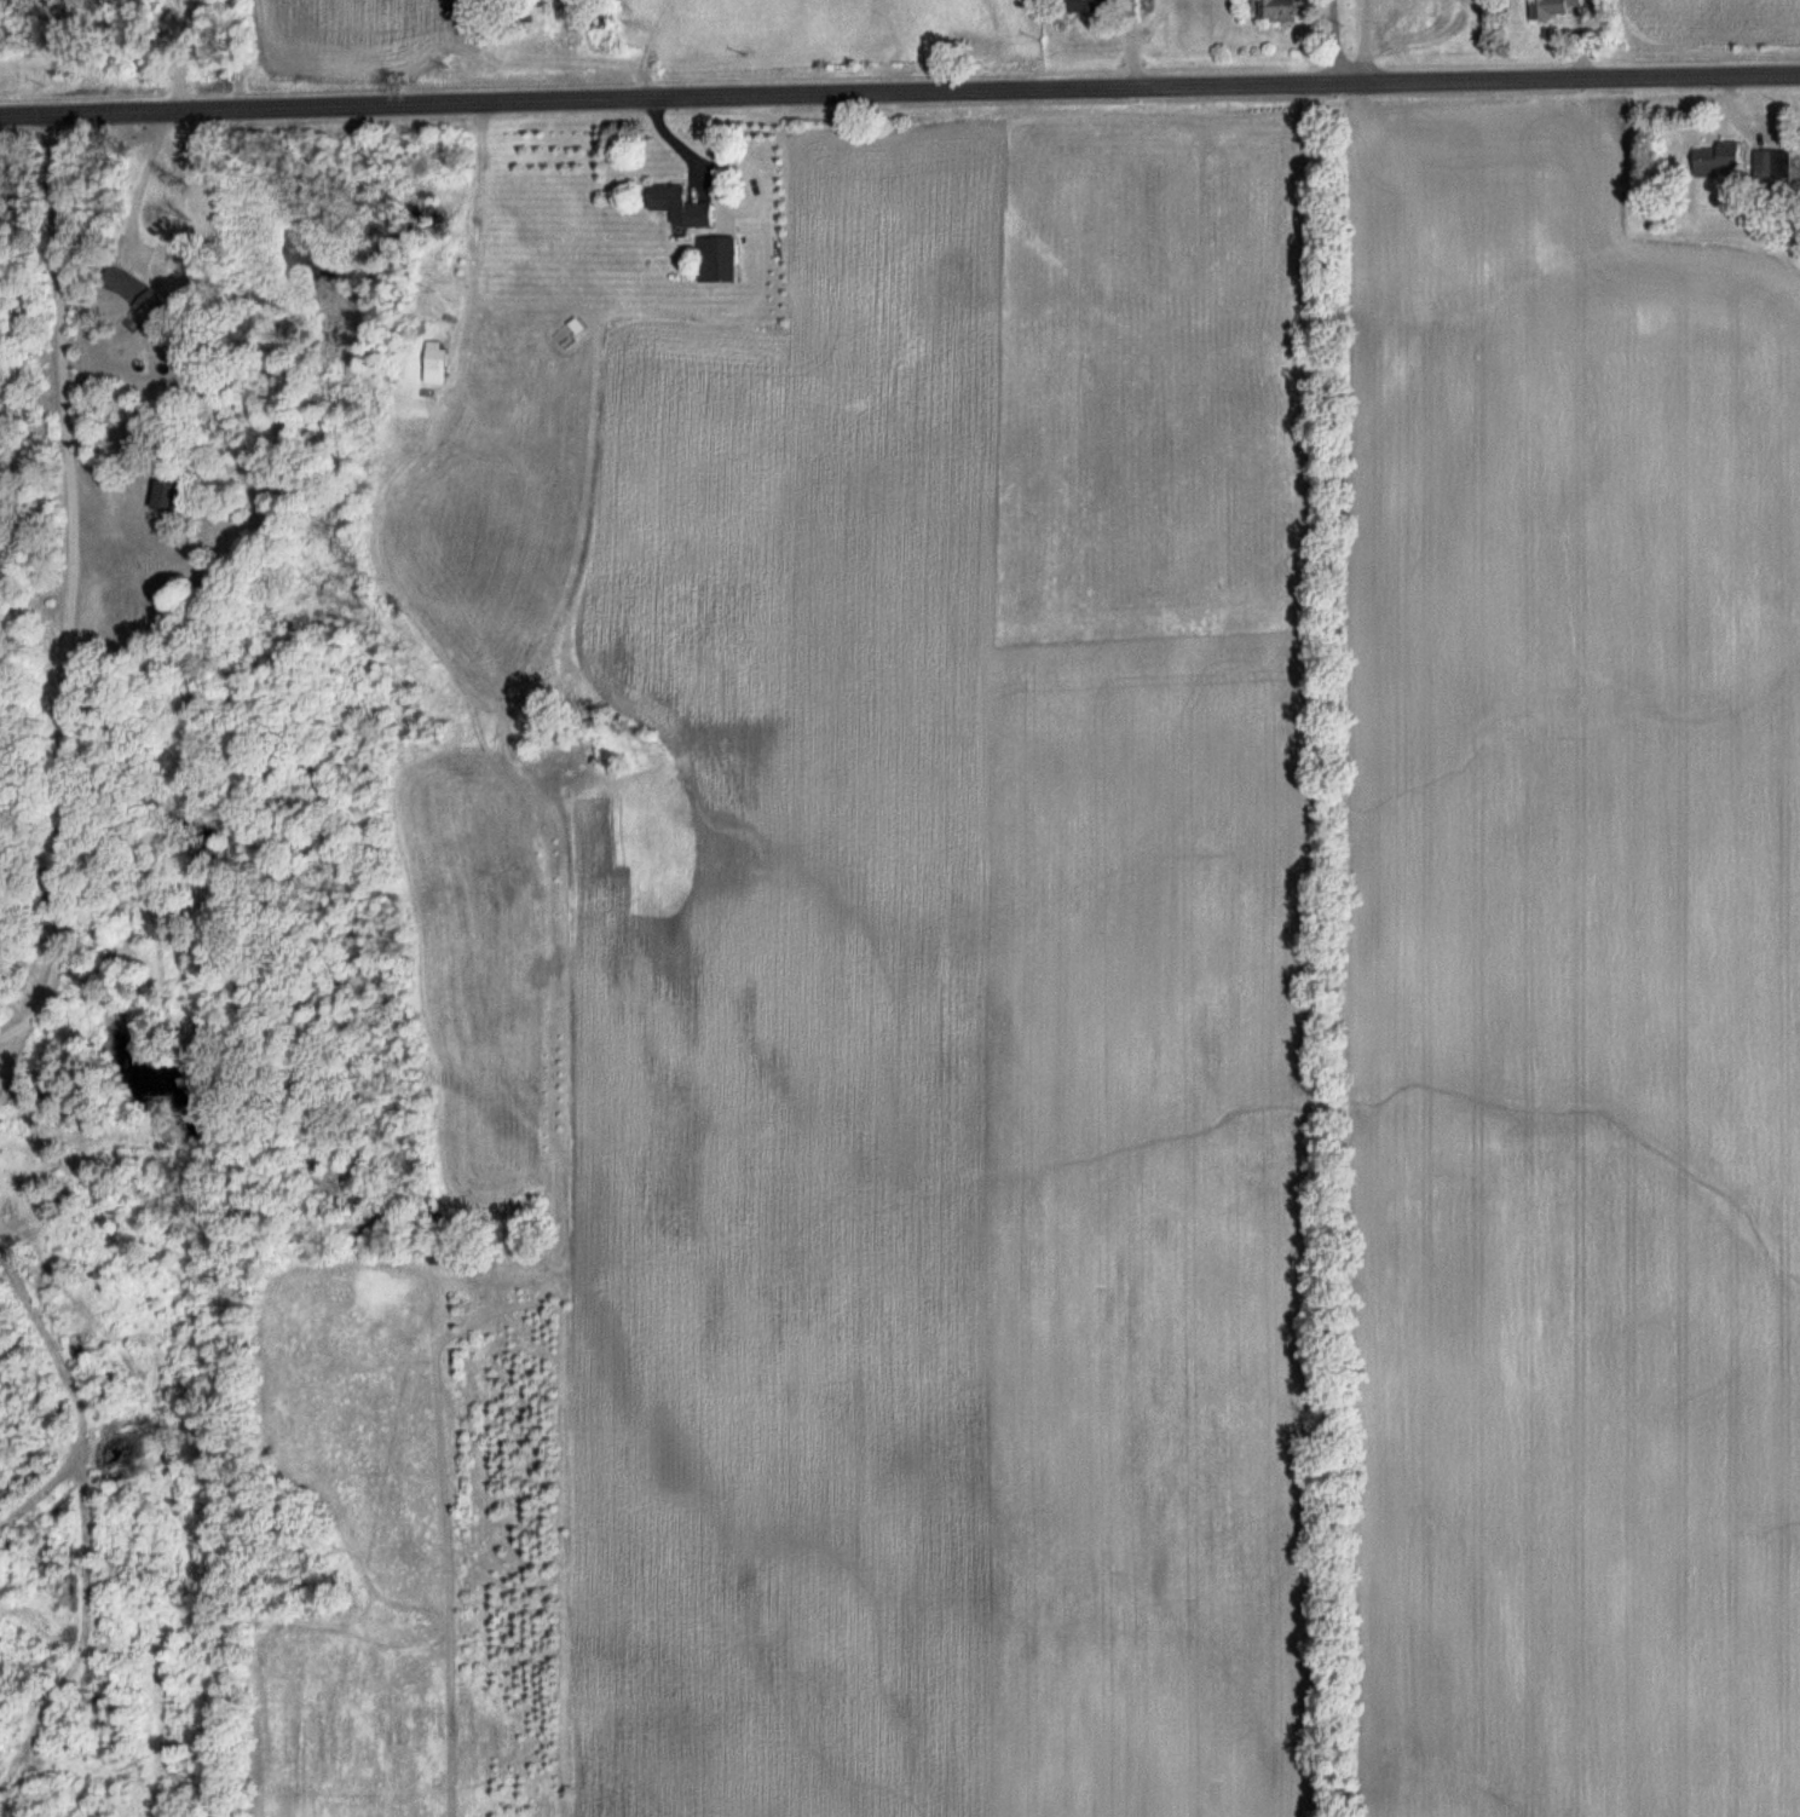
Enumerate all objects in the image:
building: (1090, 6)
building: (1562, 7)
building: (1282, 10)
road: (1342, 42)
road: (1367, 42)
road: (178, 53)
road: (899, 93)
building: (1718, 161)
building: (1771, 165)
road: (140, 185)
building: (680, 207)
building: (717, 260)
building: (127, 267)
building: (165, 497)
road: (67, 586)
crop: (1132, 1027)

